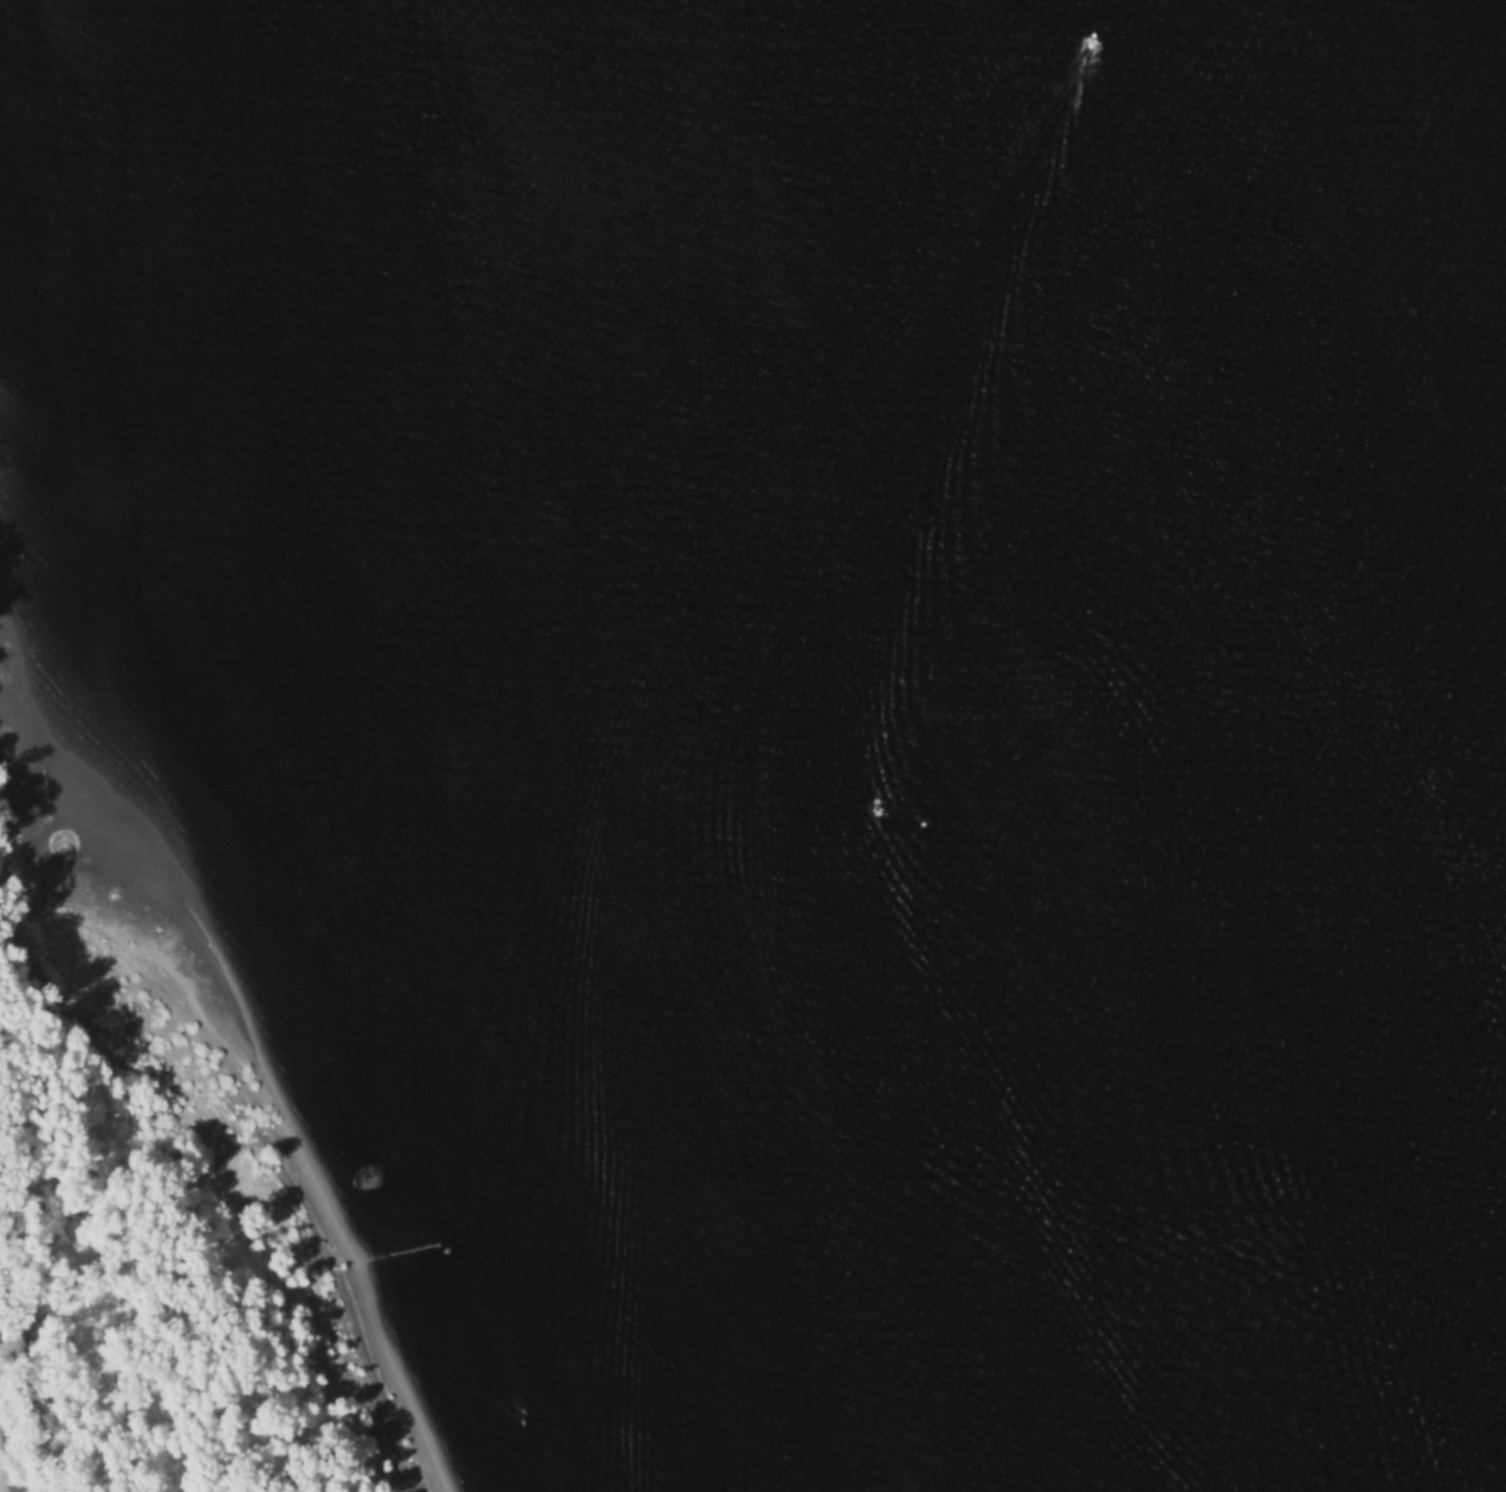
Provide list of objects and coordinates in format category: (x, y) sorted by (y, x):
river: (1207, 746)
road: (8, 1433)

